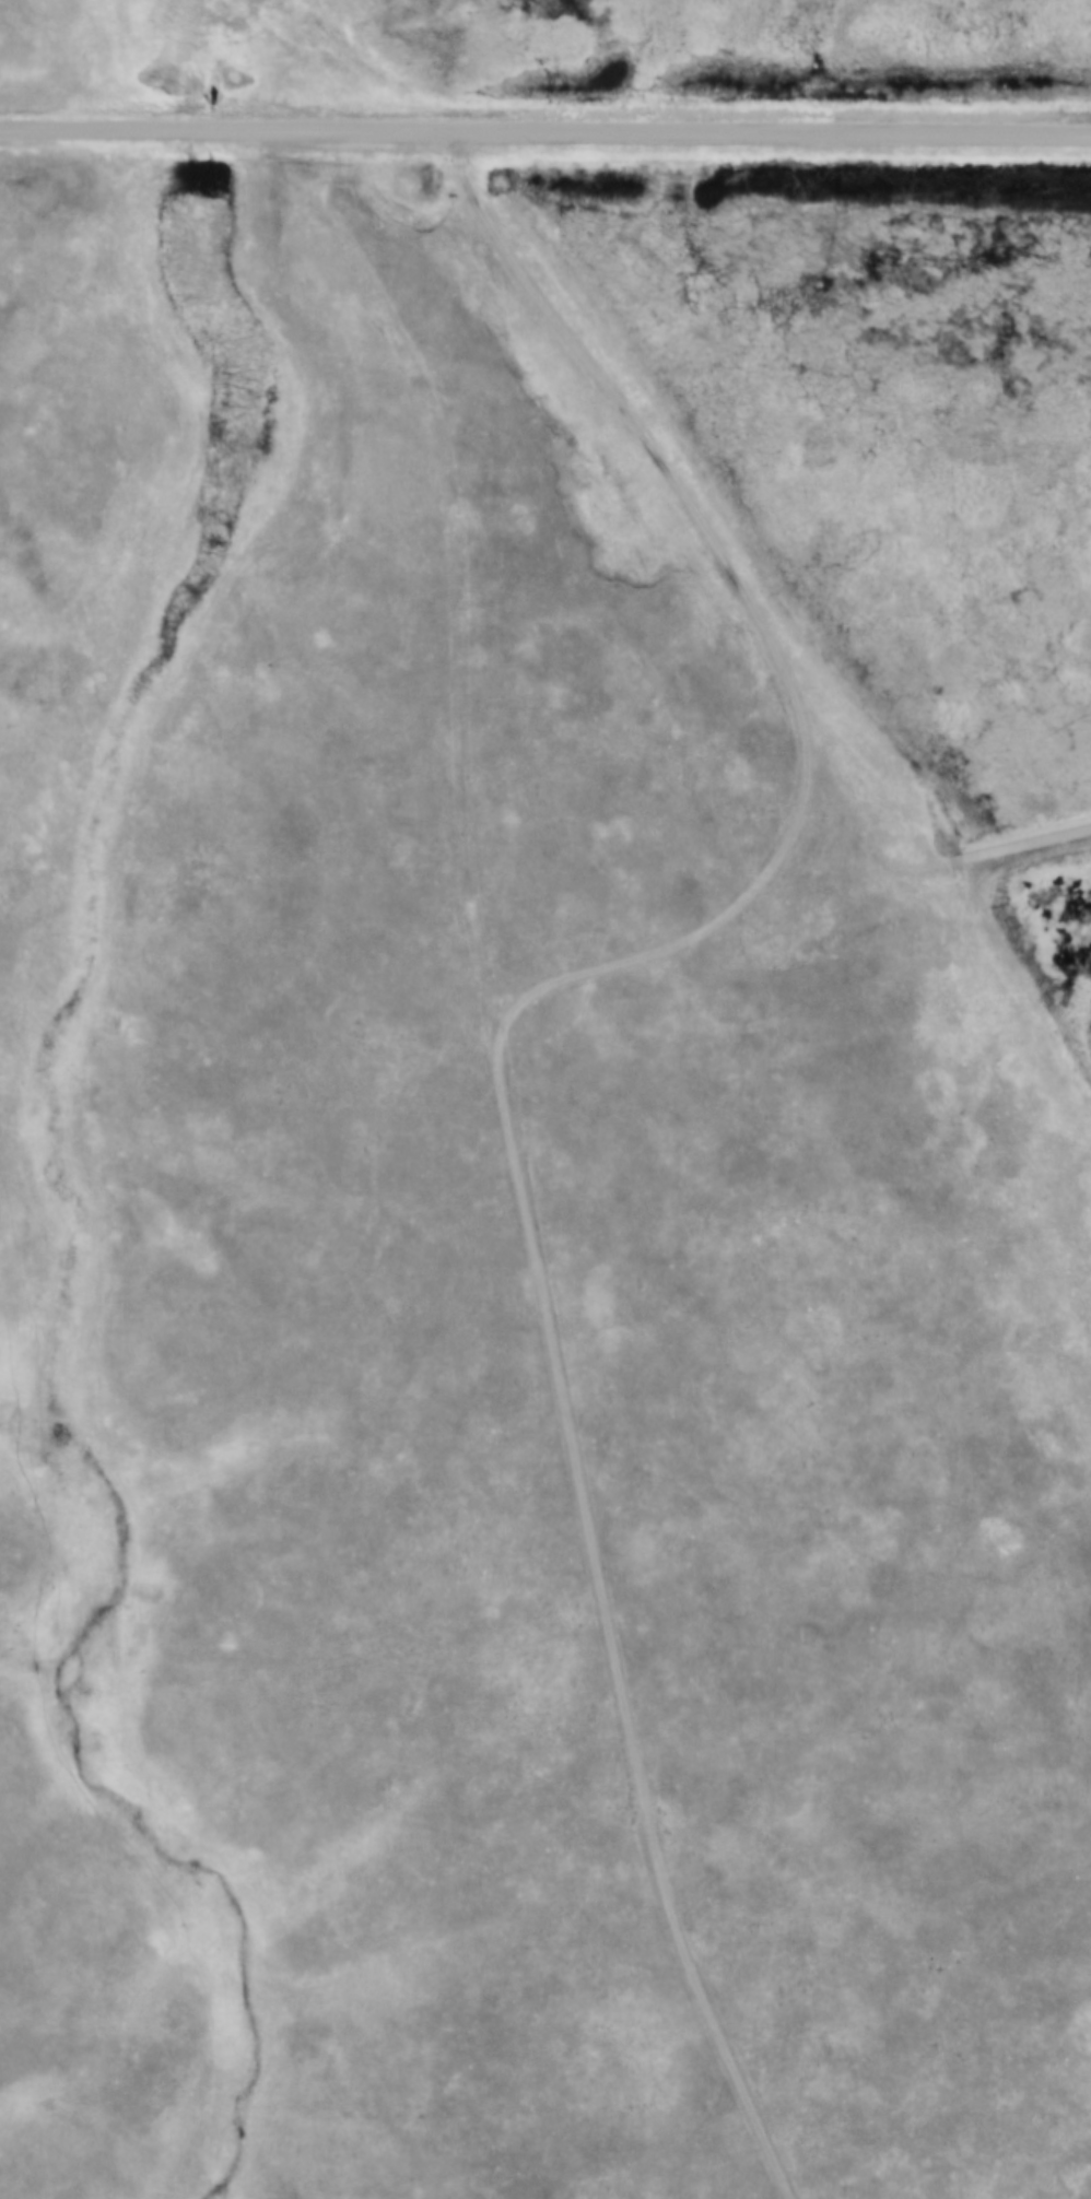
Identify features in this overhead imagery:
road: (545, 122)
dam: (1025, 850)
road: (919, 857)
road: (498, 1043)

